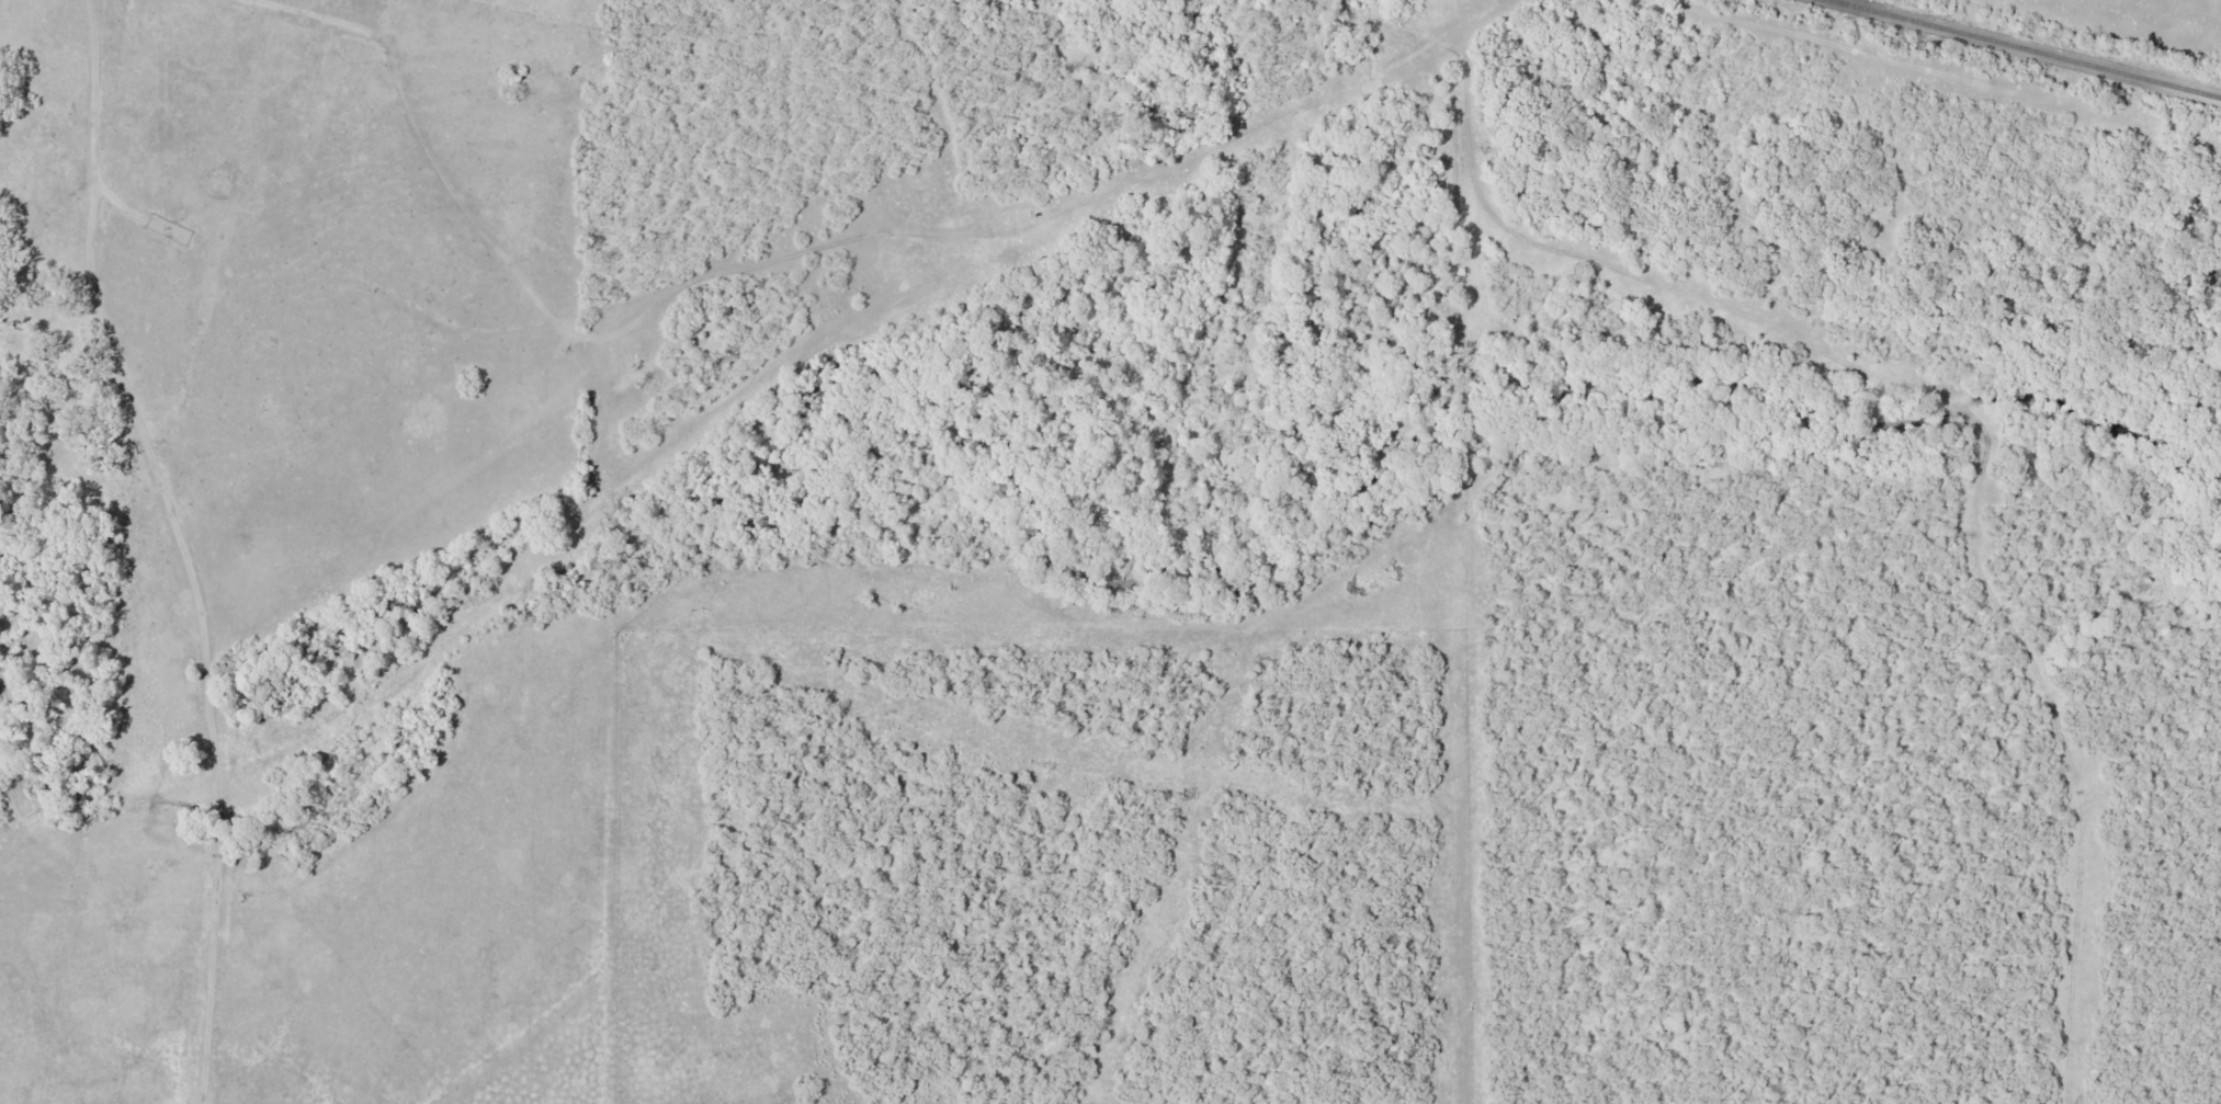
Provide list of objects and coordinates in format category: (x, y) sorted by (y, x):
railway: (2021, 49)

